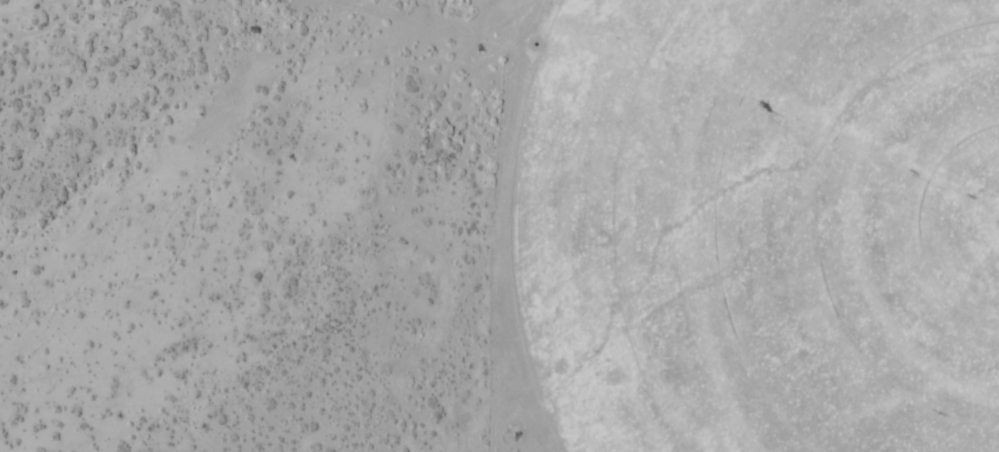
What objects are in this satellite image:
crop: (768, 225)

